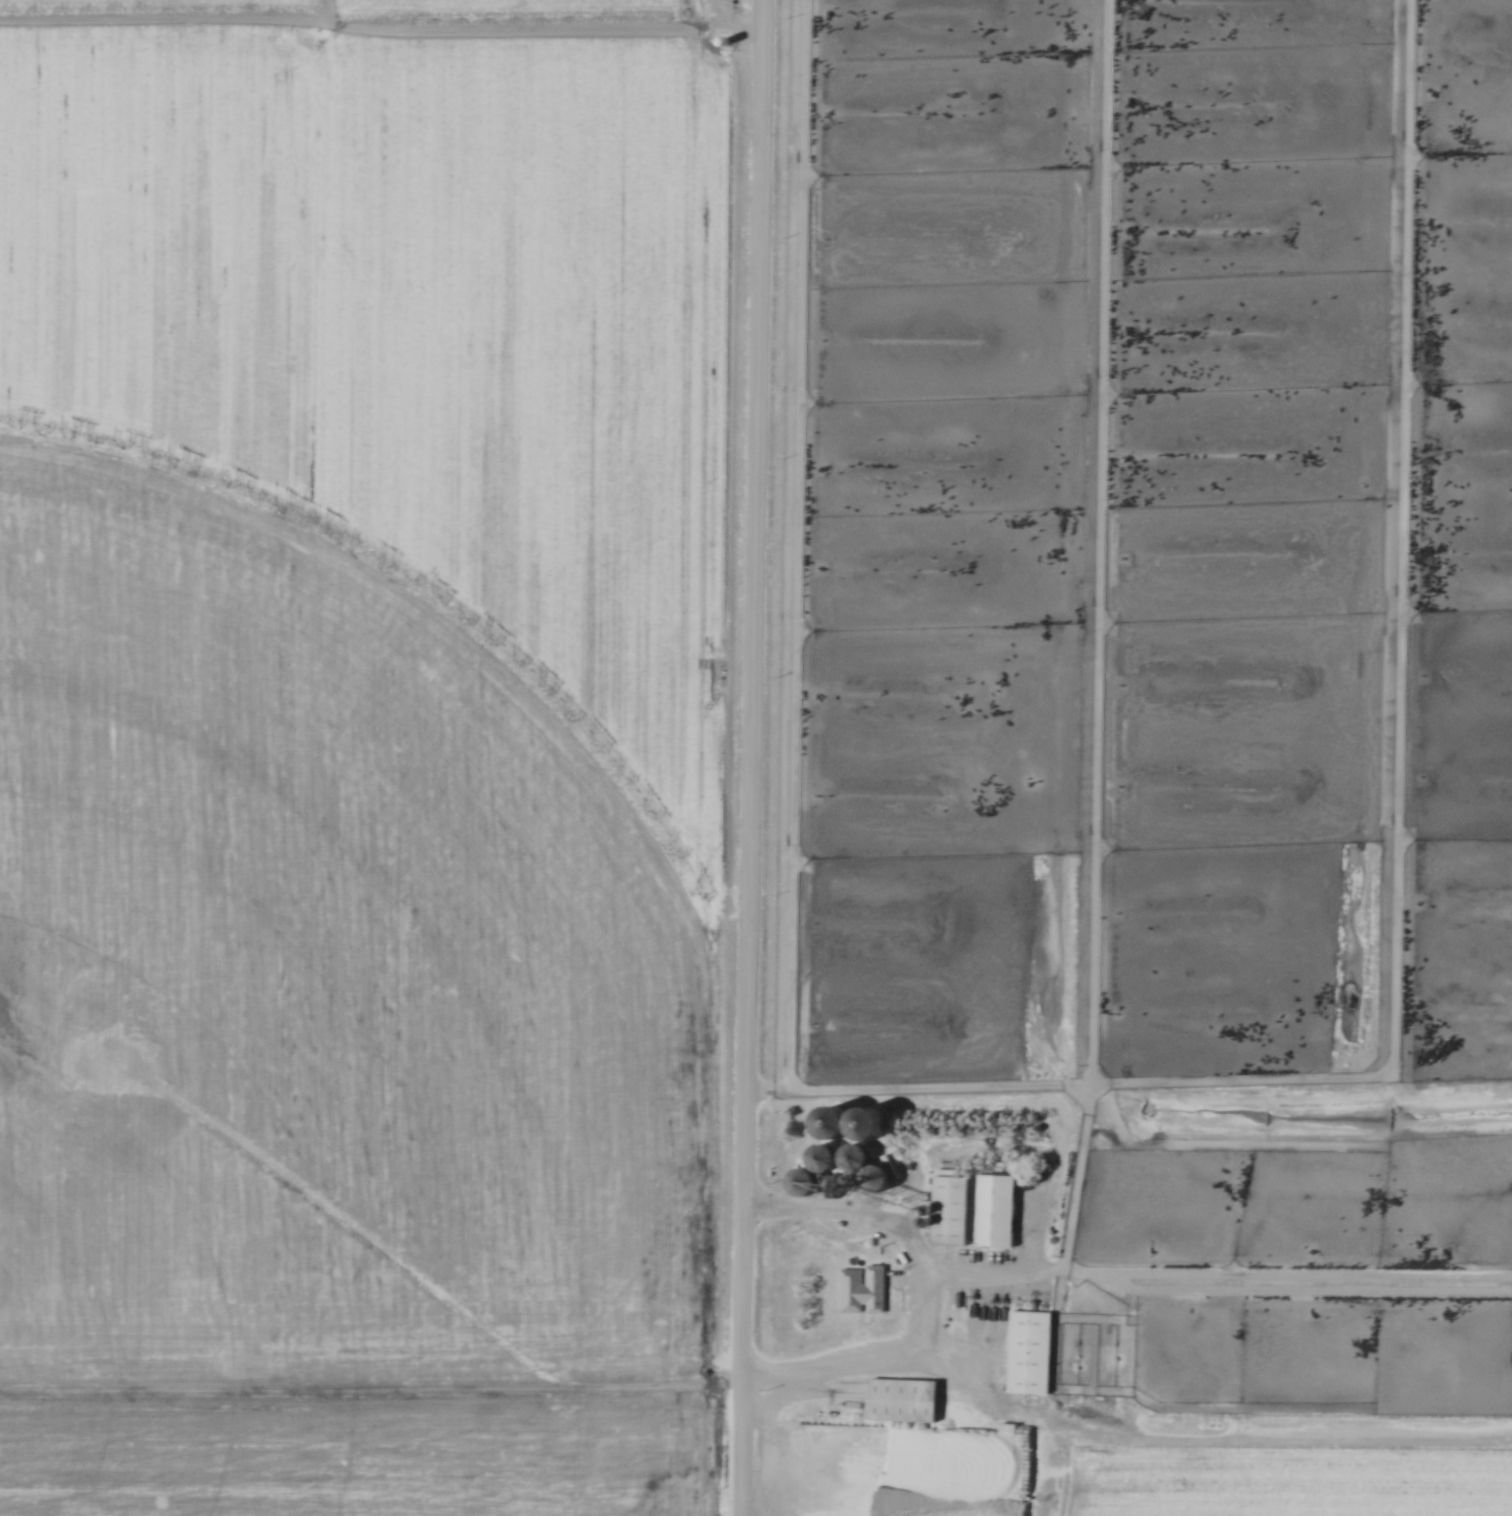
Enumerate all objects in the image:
road: (752, 757)
building: (1008, 1213)
building: (961, 1214)
road: (932, 1287)
building: (859, 1289)
building: (1041, 1354)
building: (915, 1402)

